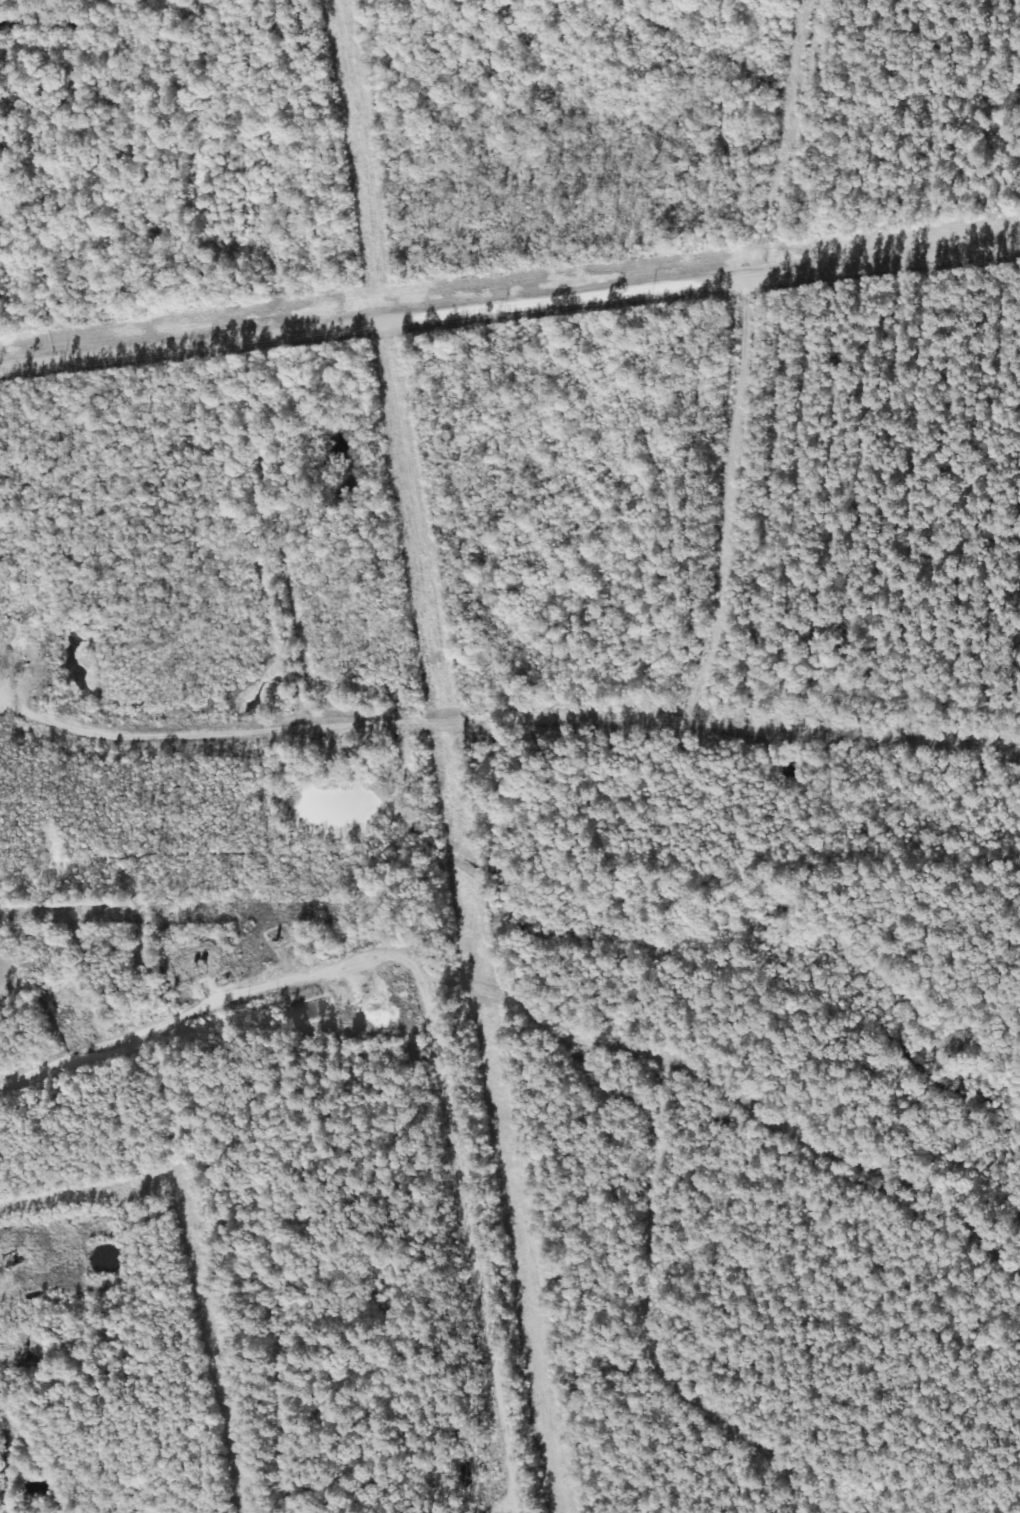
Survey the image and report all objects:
road: (238, 565)
road: (509, 687)
road: (421, 1039)

